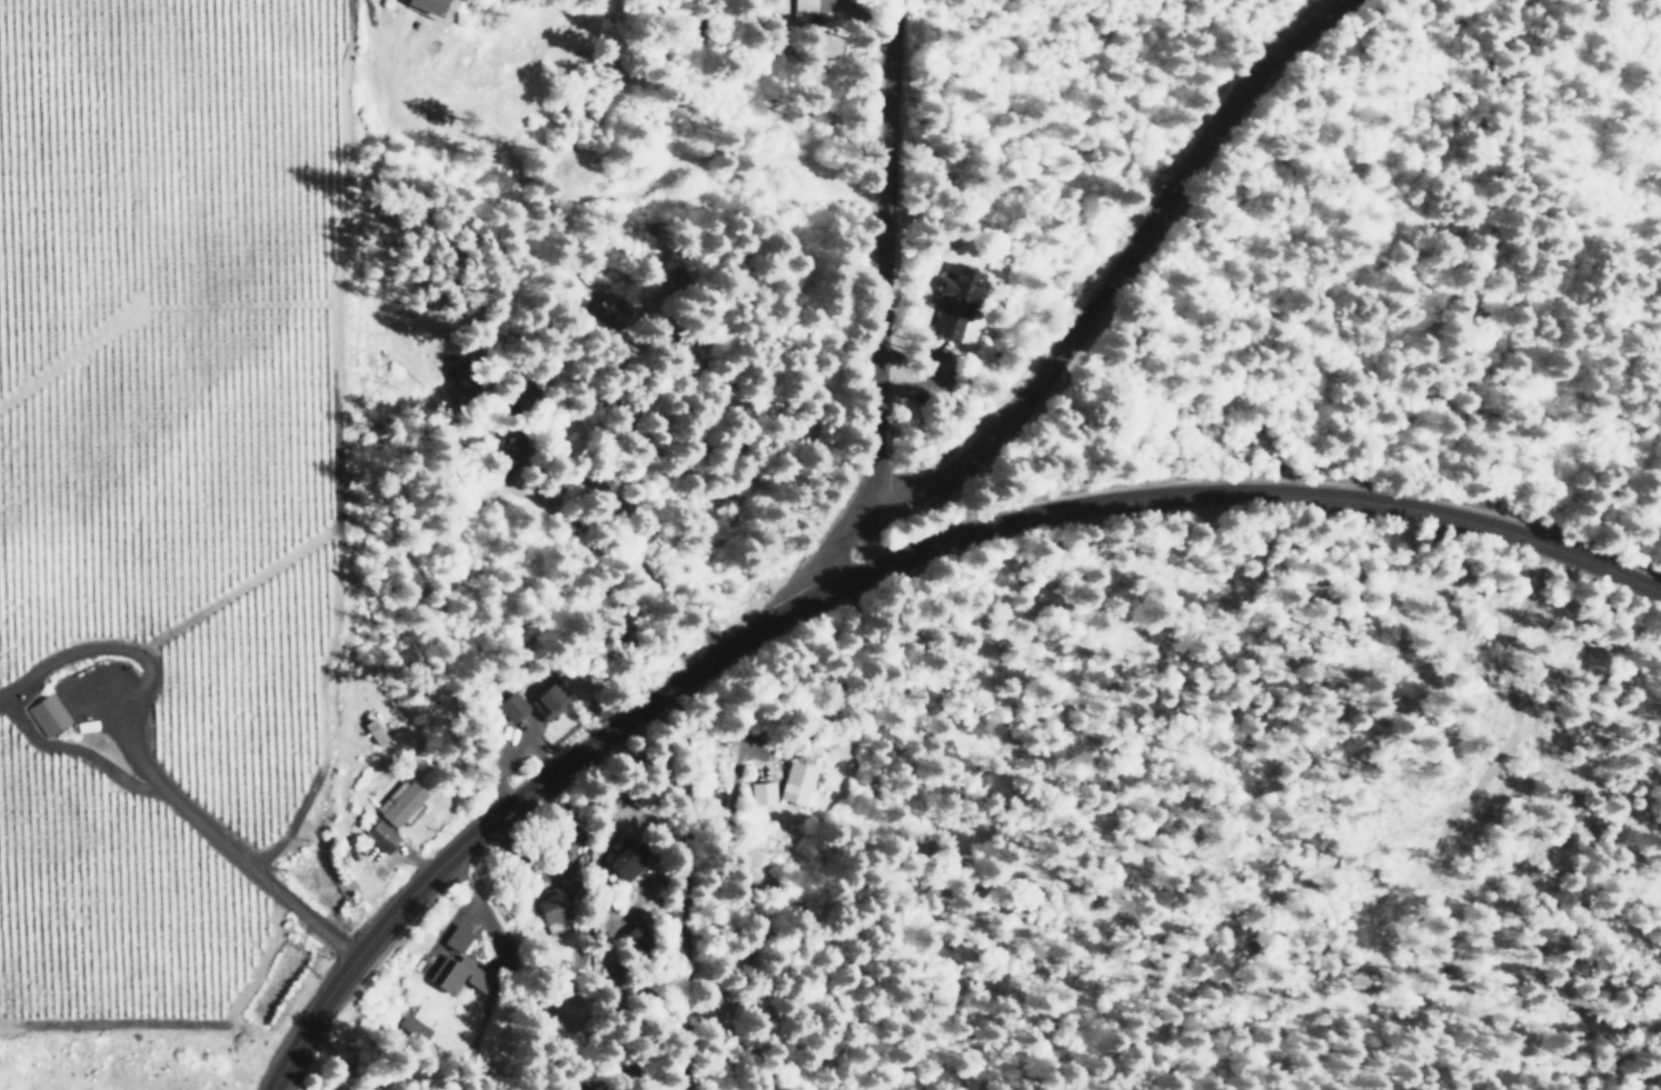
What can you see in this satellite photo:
building: (419, 6)
building: (802, 10)
road: (1113, 262)
building: (953, 300)
road: (878, 308)
road: (872, 568)
building: (548, 700)
building: (508, 706)
building: (48, 714)
building: (794, 783)
building: (762, 792)
building: (379, 834)
road: (849, 837)
building: (618, 866)
building: (547, 913)
building: (454, 939)
building: (452, 974)
building: (409, 1027)

